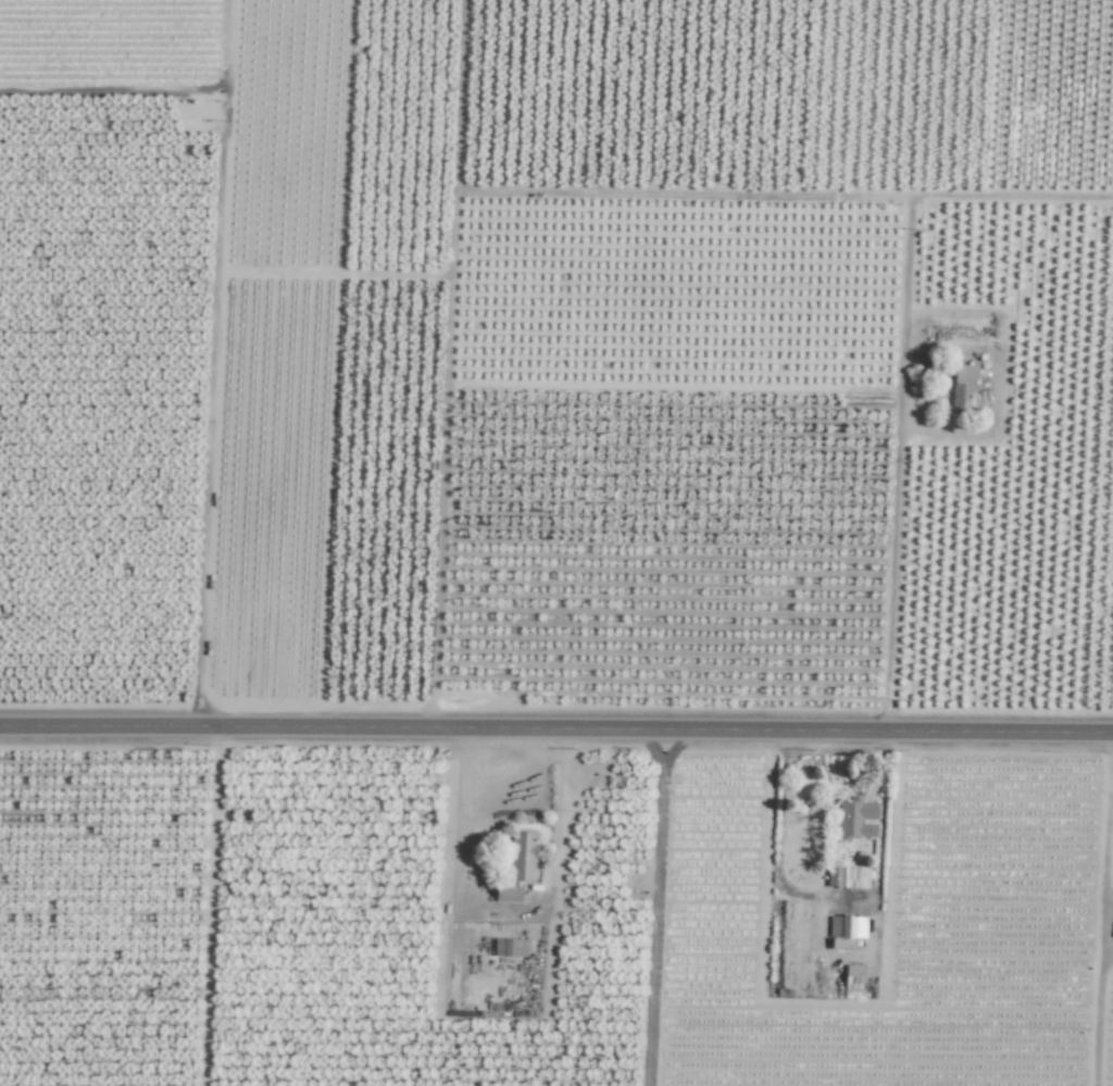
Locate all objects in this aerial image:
road: (901, 573)
road: (555, 729)
building: (854, 820)
building: (526, 845)
road: (1103, 845)
road: (834, 901)
road: (503, 913)
building: (845, 926)
building: (852, 976)

